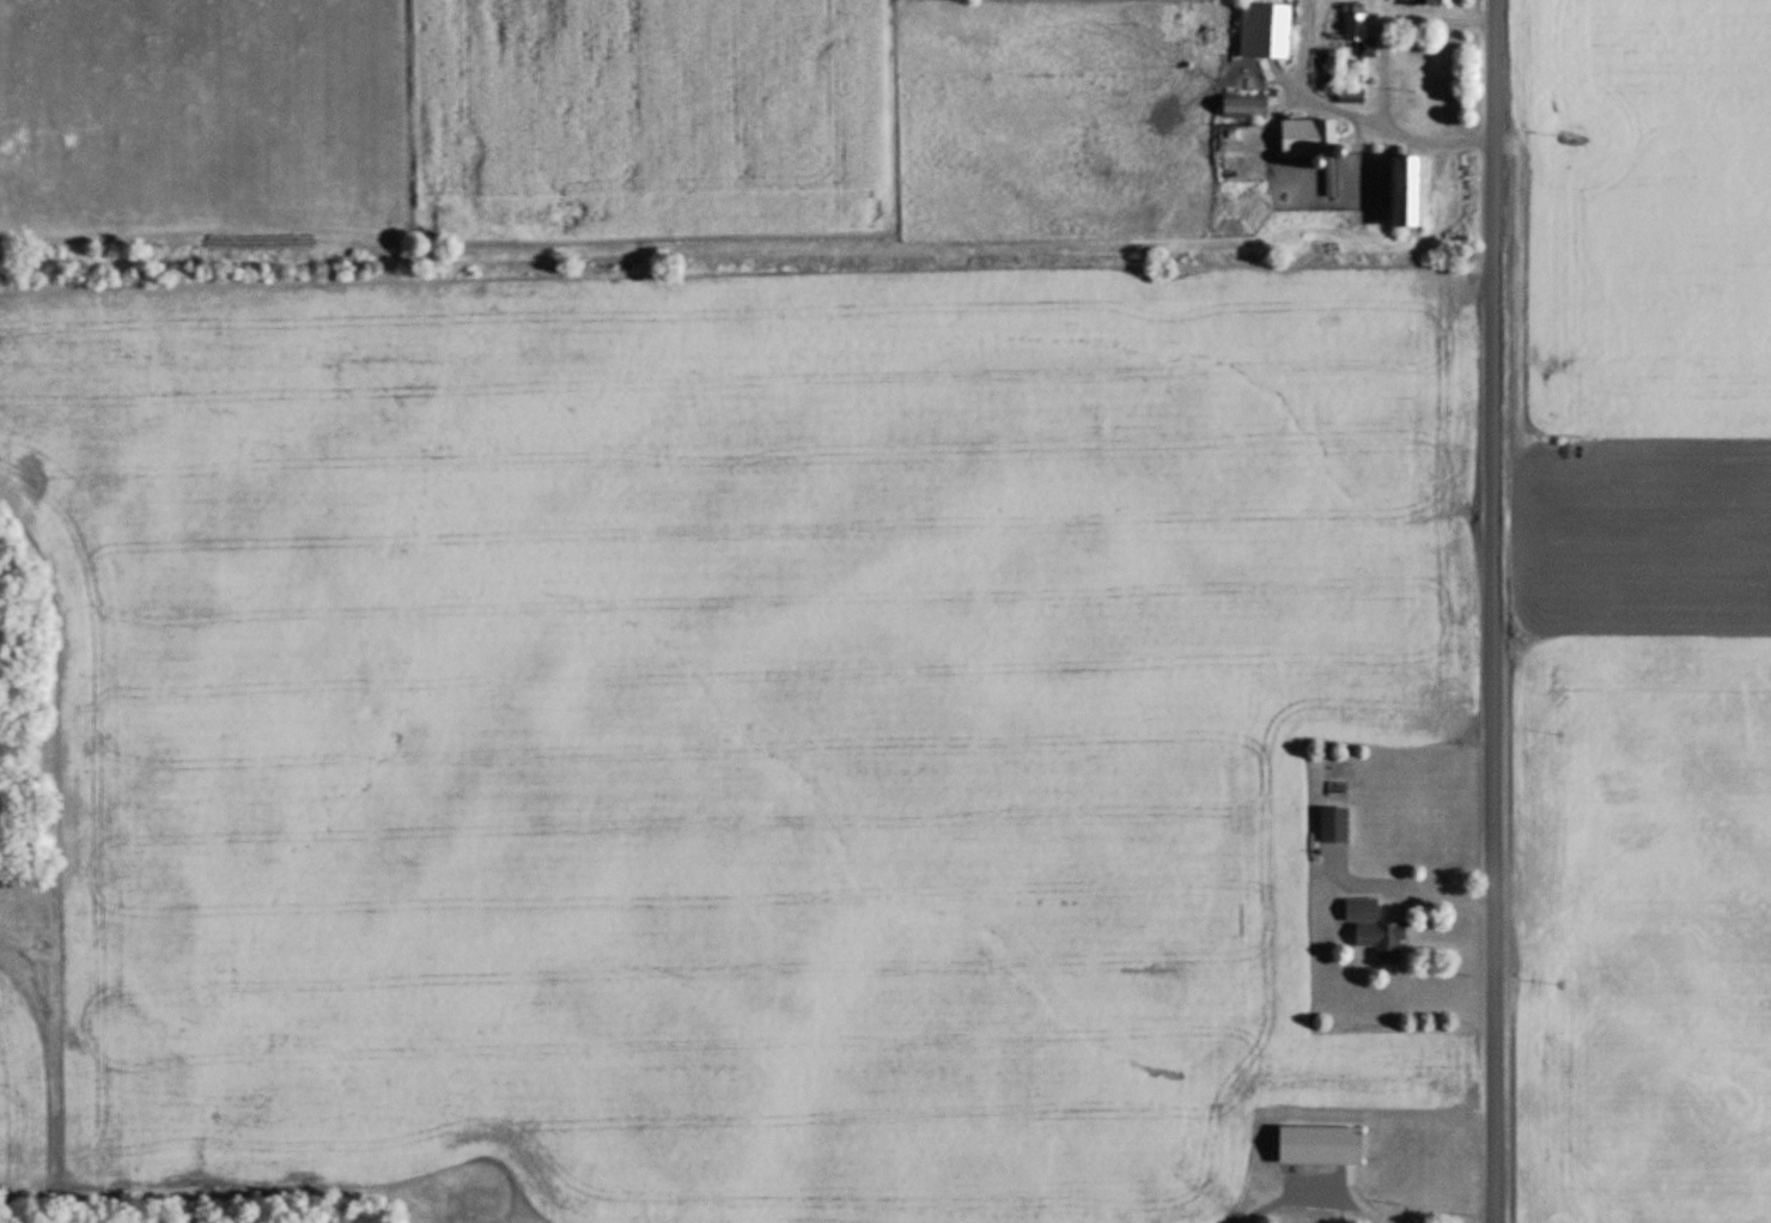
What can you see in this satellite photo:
building: (1419, 2)
road: (1387, 20)
building: (1355, 28)
building: (1265, 32)
building: (1351, 97)
building: (1244, 108)
road: (1355, 118)
building: (1314, 147)
building: (1407, 194)
road: (1491, 610)
building: (1334, 827)
road: (1405, 882)
building: (1375, 933)
building: (1321, 1146)
road: (1368, 1199)

